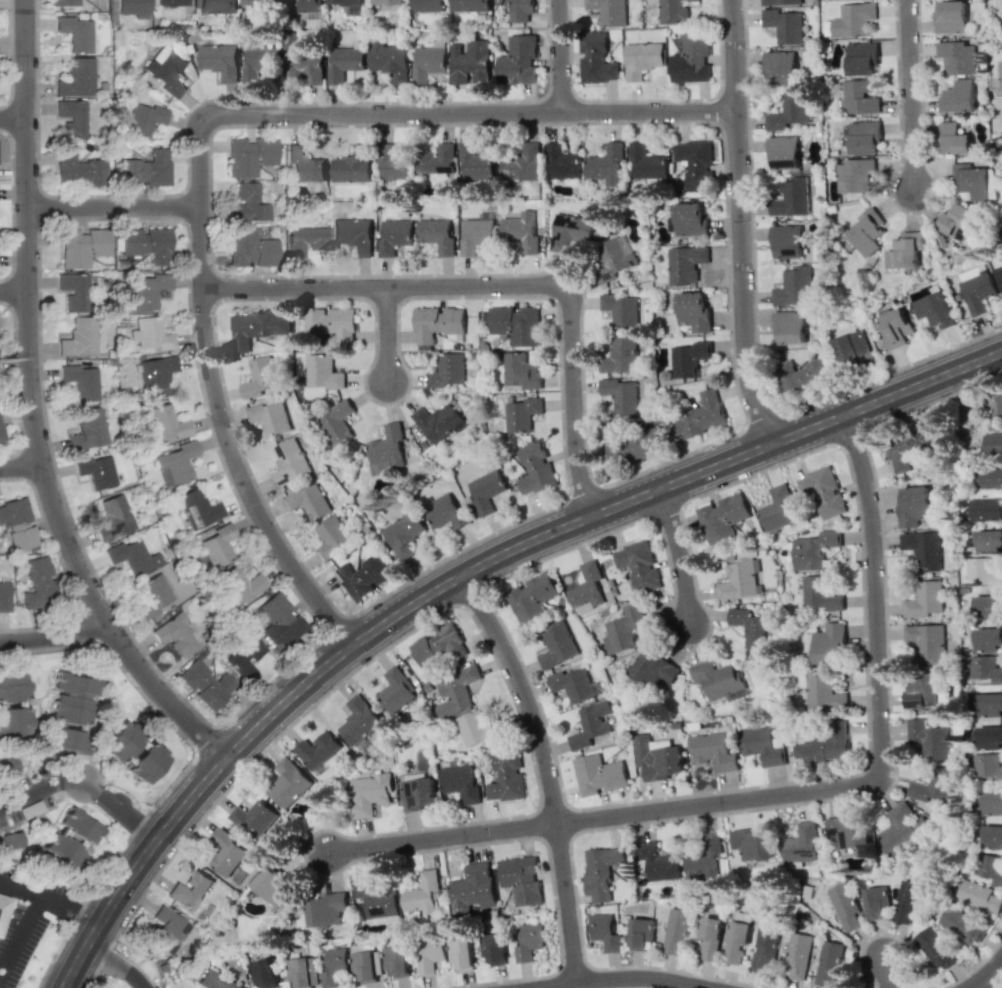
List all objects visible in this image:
building: (64, 2)
building: (259, 2)
building: (344, 2)
building: (780, 2)
building: (171, 3)
building: (427, 5)
building: (468, 5)
building: (217, 6)
building: (301, 6)
building: (132, 8)
building: (519, 10)
building: (608, 11)
building: (672, 11)
building: (951, 17)
building: (852, 20)
building: (785, 25)
building: (78, 33)
road: (563, 55)
building: (958, 56)
building: (595, 59)
building: (642, 59)
building: (690, 59)
building: (861, 59)
building: (220, 60)
building: (389, 60)
building: (517, 61)
building: (343, 62)
building: (429, 62)
building: (469, 62)
building: (258, 63)
building: (780, 67)
building: (304, 68)
building: (165, 69)
building: (1000, 75)
building: (77, 78)
road: (912, 95)
building: (960, 96)
building: (858, 97)
building: (789, 111)
building: (72, 118)
road: (12, 119)
building: (143, 119)
road: (198, 135)
building: (863, 137)
building: (954, 139)
building: (783, 152)
building: (249, 156)
building: (437, 159)
building: (646, 162)
building: (563, 163)
building: (476, 164)
building: (522, 164)
building: (606, 164)
building: (695, 164)
building: (304, 165)
building: (395, 167)
building: (78, 169)
building: (350, 169)
building: (145, 170)
building: (855, 173)
building: (972, 181)
building: (791, 197)
building: (248, 204)
road: (113, 207)
building: (689, 219)
road: (744, 222)
building: (961, 222)
building: (570, 231)
building: (867, 231)
building: (522, 232)
building: (353, 235)
building: (437, 235)
building: (476, 235)
building: (393, 236)
building: (304, 241)
building: (787, 241)
building: (146, 243)
building: (82, 247)
building: (250, 248)
building: (905, 251)
building: (614, 259)
building: (685, 263)
building: (999, 273)
road: (501, 285)
building: (795, 286)
building: (148, 290)
building: (978, 290)
road: (13, 291)
building: (73, 291)
building: (621, 309)
building: (934, 310)
building: (693, 311)
road: (27, 318)
building: (437, 323)
building: (331, 324)
building: (515, 325)
building: (790, 326)
building: (256, 328)
building: (896, 328)
building: (150, 334)
building: (79, 338)
road: (386, 338)
building: (852, 349)
building: (620, 355)
building: (689, 358)
building: (446, 371)
building: (519, 371)
building: (323, 372)
building: (155, 375)
building: (260, 377)
building: (802, 377)
building: (80, 381)
building: (621, 395)
building: (993, 406)
building: (519, 415)
building: (270, 417)
building: (699, 417)
building: (336, 422)
building: (437, 422)
building: (166, 423)
building: (87, 430)
building: (631, 442)
building: (992, 443)
building: (909, 448)
building: (386, 450)
building: (288, 462)
building: (175, 464)
building: (534, 467)
road: (21, 469)
building: (95, 470)
building: (990, 476)
building: (485, 490)
building: (822, 492)
building: (308, 500)
building: (913, 507)
building: (985, 507)
building: (197, 508)
building: (445, 512)
road: (592, 514)
building: (112, 518)
building: (722, 518)
building: (18, 523)
building: (403, 533)
building: (331, 537)
building: (988, 541)
building: (214, 549)
building: (813, 549)
building: (922, 550)
road: (680, 554)
building: (130, 556)
building: (638, 565)
building: (983, 571)
building: (361, 576)
building: (738, 580)
building: (37, 584)
building: (239, 584)
building: (586, 585)
building: (154, 592)
building: (821, 594)
building: (4, 597)
building: (531, 598)
building: (925, 599)
building: (988, 607)
building: (278, 620)
building: (750, 626)
building: (624, 630)
building: (174, 634)
road: (54, 635)
building: (987, 639)
building: (926, 640)
building: (829, 644)
building: (556, 645)
building: (437, 646)
building: (244, 656)
building: (985, 668)
building: (654, 669)
building: (717, 679)
building: (206, 684)
building: (572, 684)
building: (12, 688)
building: (395, 690)
building: (455, 692)
building: (922, 692)
building: (824, 693)
road: (162, 694)
building: (71, 698)
building: (989, 704)
building: (357, 720)
building: (14, 721)
building: (591, 724)
building: (473, 728)
building: (989, 737)
building: (928, 738)
building: (64, 739)
building: (118, 742)
building: (824, 745)
building: (761, 746)
building: (316, 750)
building: (712, 751)
building: (656, 759)
building: (146, 763)
building: (9, 766)
building: (987, 766)
road: (547, 770)
building: (599, 774)
building: (506, 777)
building: (460, 782)
building: (288, 783)
building: (933, 785)
road: (83, 788)
building: (368, 793)
building: (417, 794)
road: (784, 795)
building: (991, 803)
building: (254, 818)
building: (78, 826)
building: (901, 828)
building: (847, 832)
building: (992, 836)
building: (11, 840)
building: (753, 844)
building: (800, 844)
building: (61, 850)
building: (705, 857)
building: (228, 862)
building: (657, 862)
road: (138, 866)
building: (989, 868)
building: (601, 871)
building: (521, 879)
building: (472, 888)
building: (189, 890)
building: (421, 893)
building: (977, 896)
building: (376, 898)
building: (876, 901)
road: (50, 902)
building: (908, 903)
building: (2, 906)
building: (846, 906)
building: (326, 909)
building: (961, 925)
building: (168, 930)
building: (677, 930)
building: (604, 932)
building: (641, 933)
road: (21, 936)
building: (711, 937)
building: (528, 942)
building: (737, 942)
building: (494, 948)
building: (934, 948)
building: (765, 950)
building: (462, 953)
building: (431, 954)
building: (798, 955)
building: (396, 961)
building: (366, 962)
building: (829, 963)
road: (118, 966)
building: (334, 966)
building: (302, 972)
building: (263, 973)
road: (886, 973)
road: (986, 975)
road: (997, 976)
road: (624, 977)
building: (214, 980)

